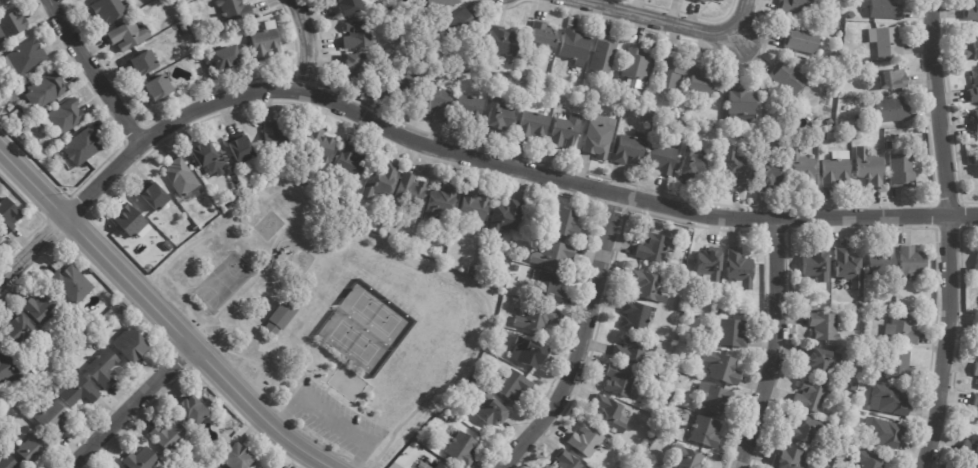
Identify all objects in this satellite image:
building: (702, 0)
building: (714, 1)
building: (4, 2)
building: (439, 3)
building: (345, 5)
building: (796, 7)
building: (886, 8)
building: (970, 10)
building: (109, 11)
building: (235, 11)
building: (852, 13)
building: (459, 23)
road: (683, 23)
building: (13, 24)
building: (357, 32)
building: (542, 34)
building: (130, 36)
building: (164, 37)
building: (801, 37)
road: (312, 40)
building: (502, 40)
building: (885, 41)
building: (267, 42)
building: (574, 45)
building: (971, 47)
building: (4, 49)
building: (526, 51)
building: (602, 53)
building: (404, 54)
building: (25, 59)
building: (228, 59)
building: (635, 61)
building: (143, 63)
building: (351, 64)
road: (93, 71)
building: (668, 72)
building: (786, 76)
building: (890, 78)
building: (555, 79)
building: (399, 82)
building: (697, 83)
building: (973, 87)
building: (159, 88)
building: (48, 90)
building: (364, 96)
building: (437, 100)
building: (594, 100)
building: (743, 103)
building: (467, 105)
road: (940, 106)
building: (890, 108)
building: (682, 113)
building: (18, 114)
building: (497, 115)
building: (648, 115)
building: (66, 117)
building: (975, 120)
building: (830, 122)
building: (682, 123)
building: (512, 125)
building: (533, 125)
building: (770, 125)
building: (564, 130)
building: (598, 134)
building: (829, 135)
building: (25, 137)
building: (278, 137)
building: (854, 138)
building: (849, 139)
building: (722, 142)
building: (888, 143)
building: (321, 146)
building: (83, 147)
building: (243, 149)
building: (628, 149)
building: (207, 153)
building: (662, 154)
road: (498, 160)
building: (351, 163)
building: (690, 164)
building: (737, 165)
building: (868, 165)
building: (800, 167)
building: (768, 169)
building: (835, 169)
building: (900, 169)
building: (84, 170)
building: (182, 177)
building: (381, 180)
building: (412, 190)
building: (156, 196)
building: (382, 199)
building: (442, 202)
building: (475, 206)
building: (8, 215)
building: (507, 218)
building: (132, 220)
building: (568, 223)
building: (649, 226)
building: (1, 238)
road: (34, 246)
building: (167, 246)
building: (653, 246)
building: (554, 254)
building: (444, 260)
building: (881, 260)
building: (816, 262)
building: (911, 262)
building: (706, 263)
building: (976, 264)
building: (848, 266)
building: (519, 268)
building: (738, 268)
building: (472, 271)
park: (221, 280)
building: (729, 280)
building: (74, 283)
building: (499, 285)
building: (646, 285)
building: (548, 287)
building: (859, 304)
building: (891, 304)
building: (43, 306)
building: (109, 306)
building: (123, 308)
building: (715, 308)
road: (158, 312)
building: (635, 315)
building: (283, 317)
building: (537, 319)
building: (672, 319)
building: (86, 324)
park: (327, 325)
building: (823, 325)
park: (361, 326)
building: (20, 327)
building: (902, 328)
building: (729, 331)
road: (576, 339)
road: (951, 341)
building: (133, 344)
building: (886, 345)
road: (775, 346)
building: (632, 349)
building: (530, 353)
building: (821, 360)
building: (899, 365)
building: (10, 367)
building: (105, 368)
building: (722, 368)
building: (975, 368)
building: (619, 380)
building: (977, 382)
building: (477, 383)
building: (514, 385)
building: (79, 391)
building: (808, 396)
building: (712, 398)
building: (889, 400)
building: (975, 401)
road: (131, 408)
building: (492, 410)
building: (194, 411)
road: (328, 414)
building: (610, 414)
building: (54, 418)
building: (977, 418)
parking lot: (334, 423)
building: (802, 428)
building: (704, 431)
building: (882, 432)
building: (171, 434)
building: (586, 441)
building: (971, 445)
building: (32, 447)
building: (463, 448)
building: (239, 456)
building: (686, 457)
building: (791, 458)
building: (143, 459)
building: (869, 459)
building: (564, 461)
building: (10, 462)
building: (440, 466)
building: (967, 466)
building: (258, 467)
building: (427, 467)

